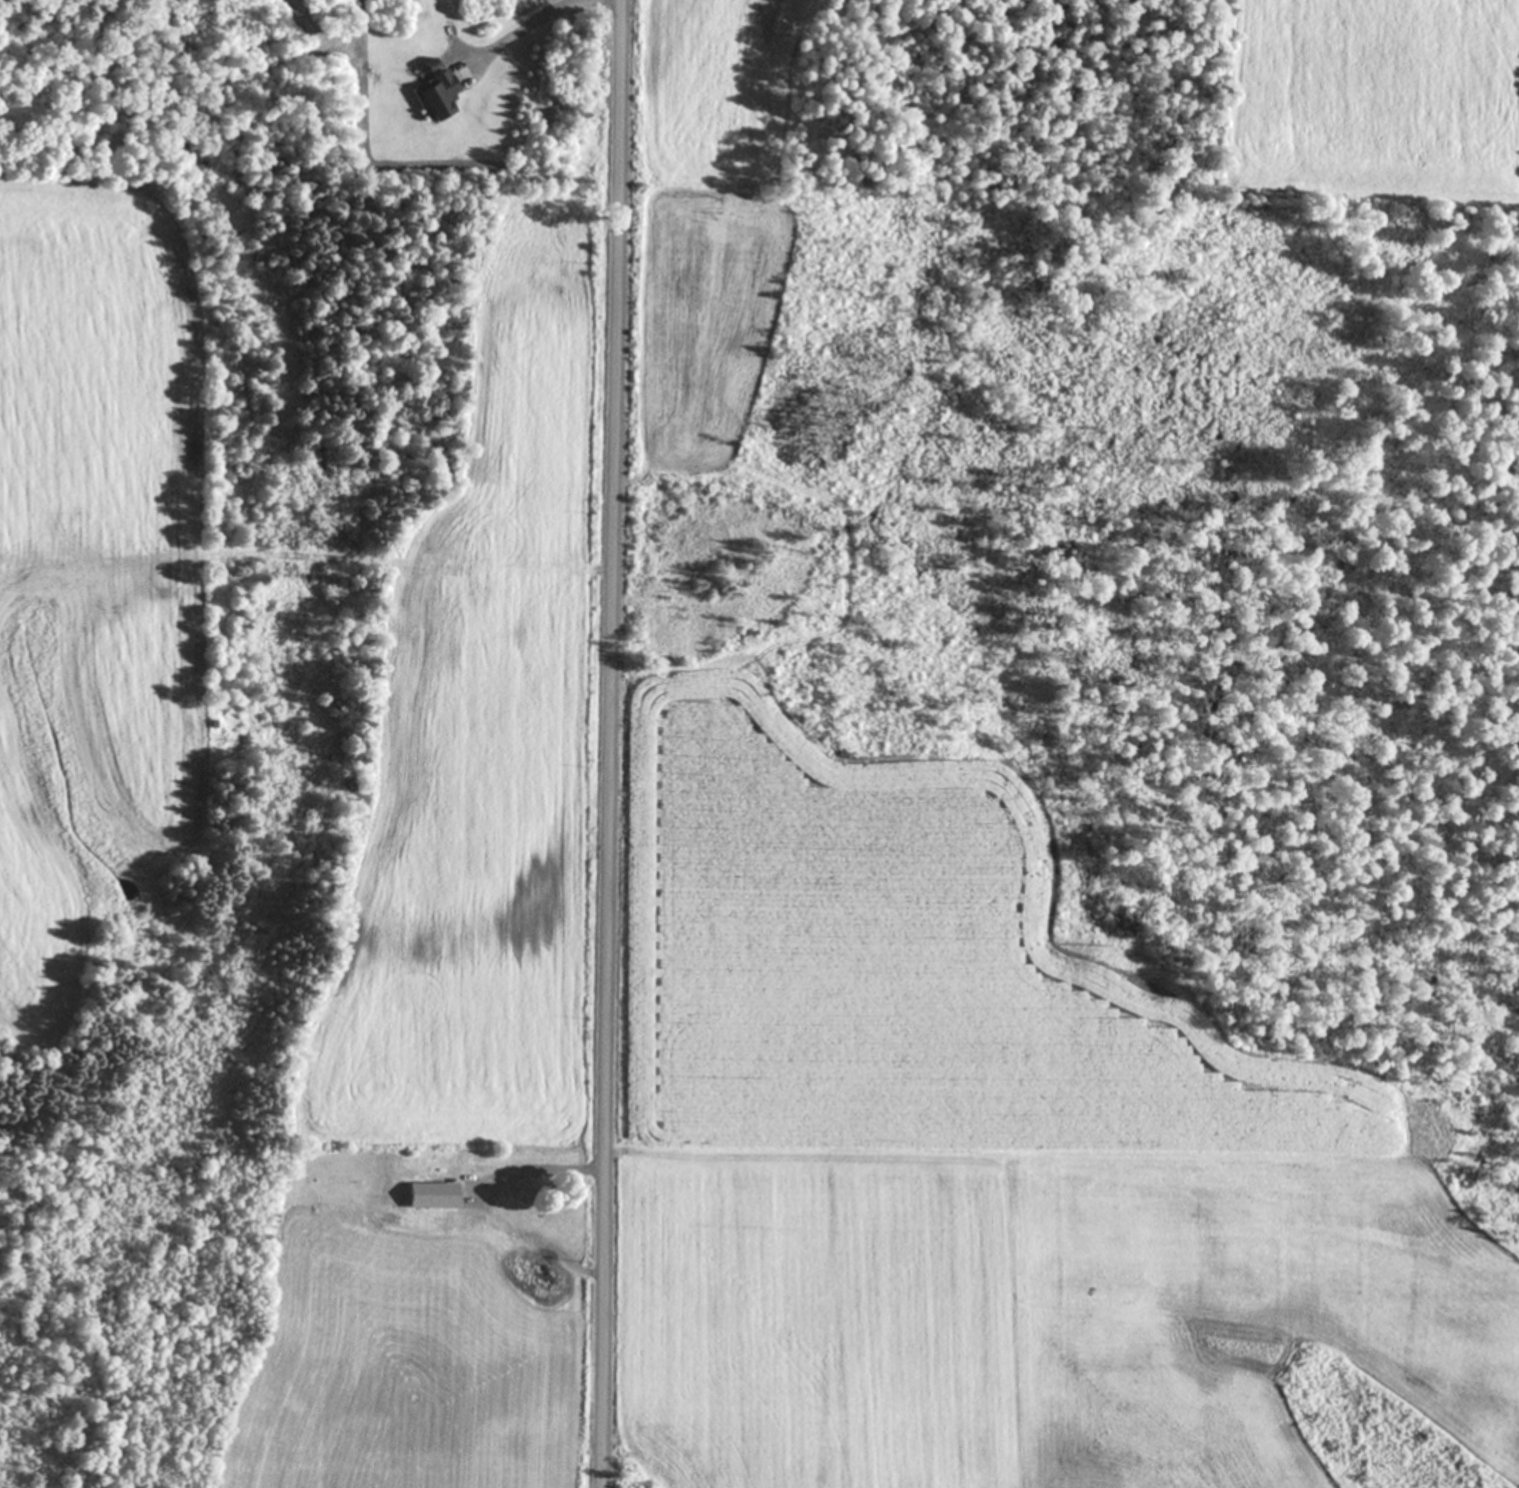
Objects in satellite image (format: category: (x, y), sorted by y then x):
road: (540, 13)
building: (435, 95)
road: (606, 743)

